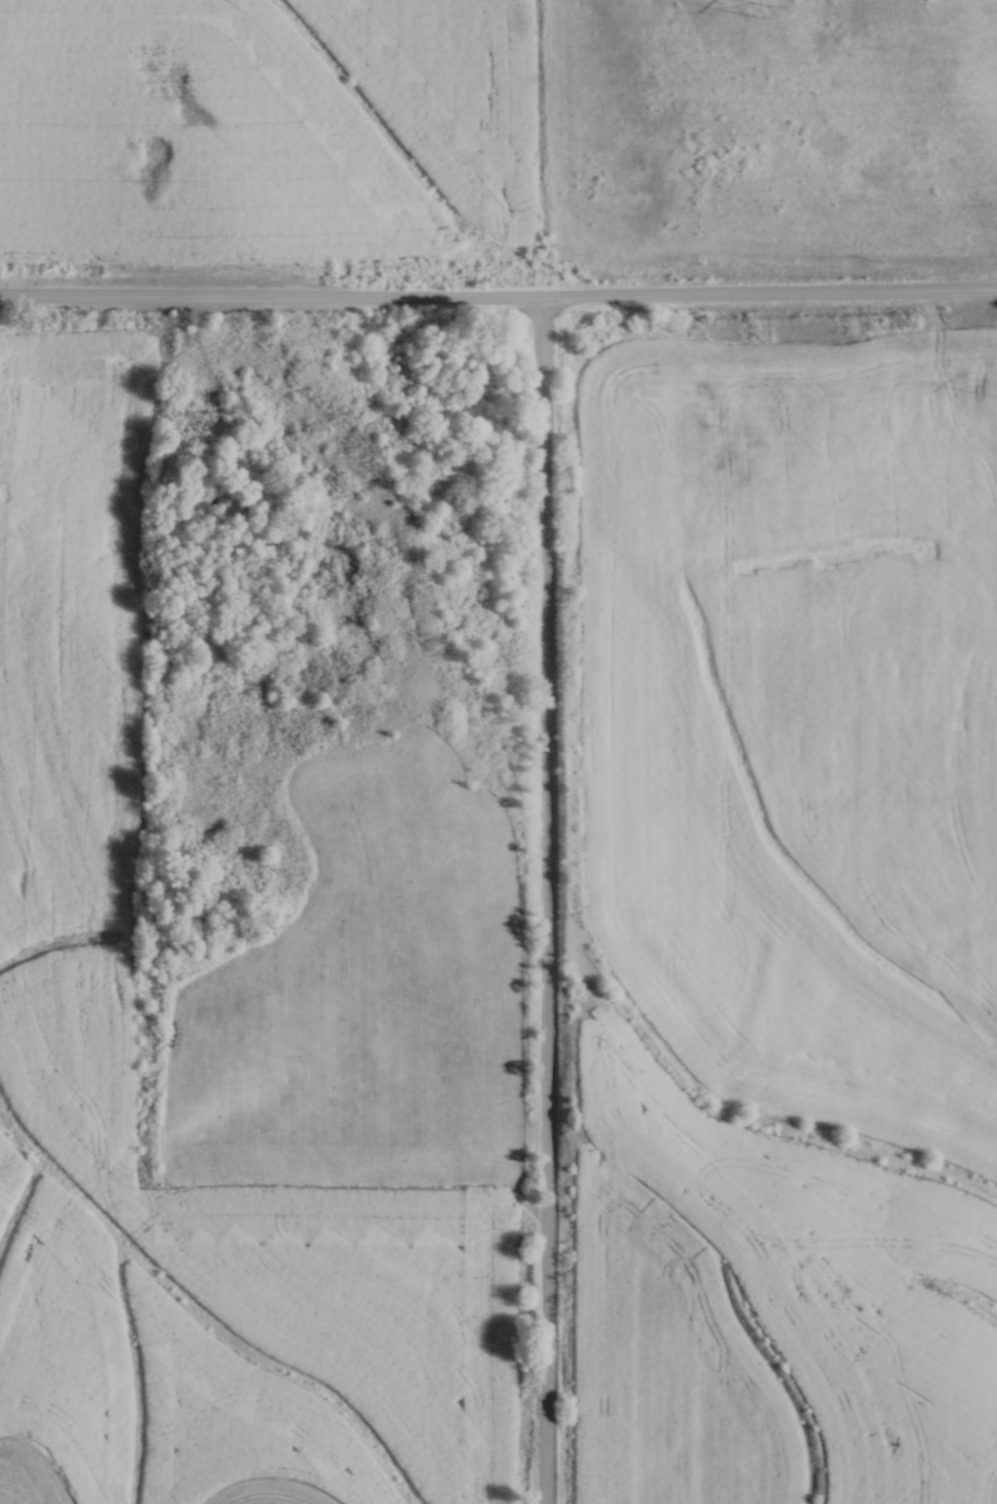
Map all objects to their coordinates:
power tower: (768, 18)
road: (498, 294)
road: (549, 899)

